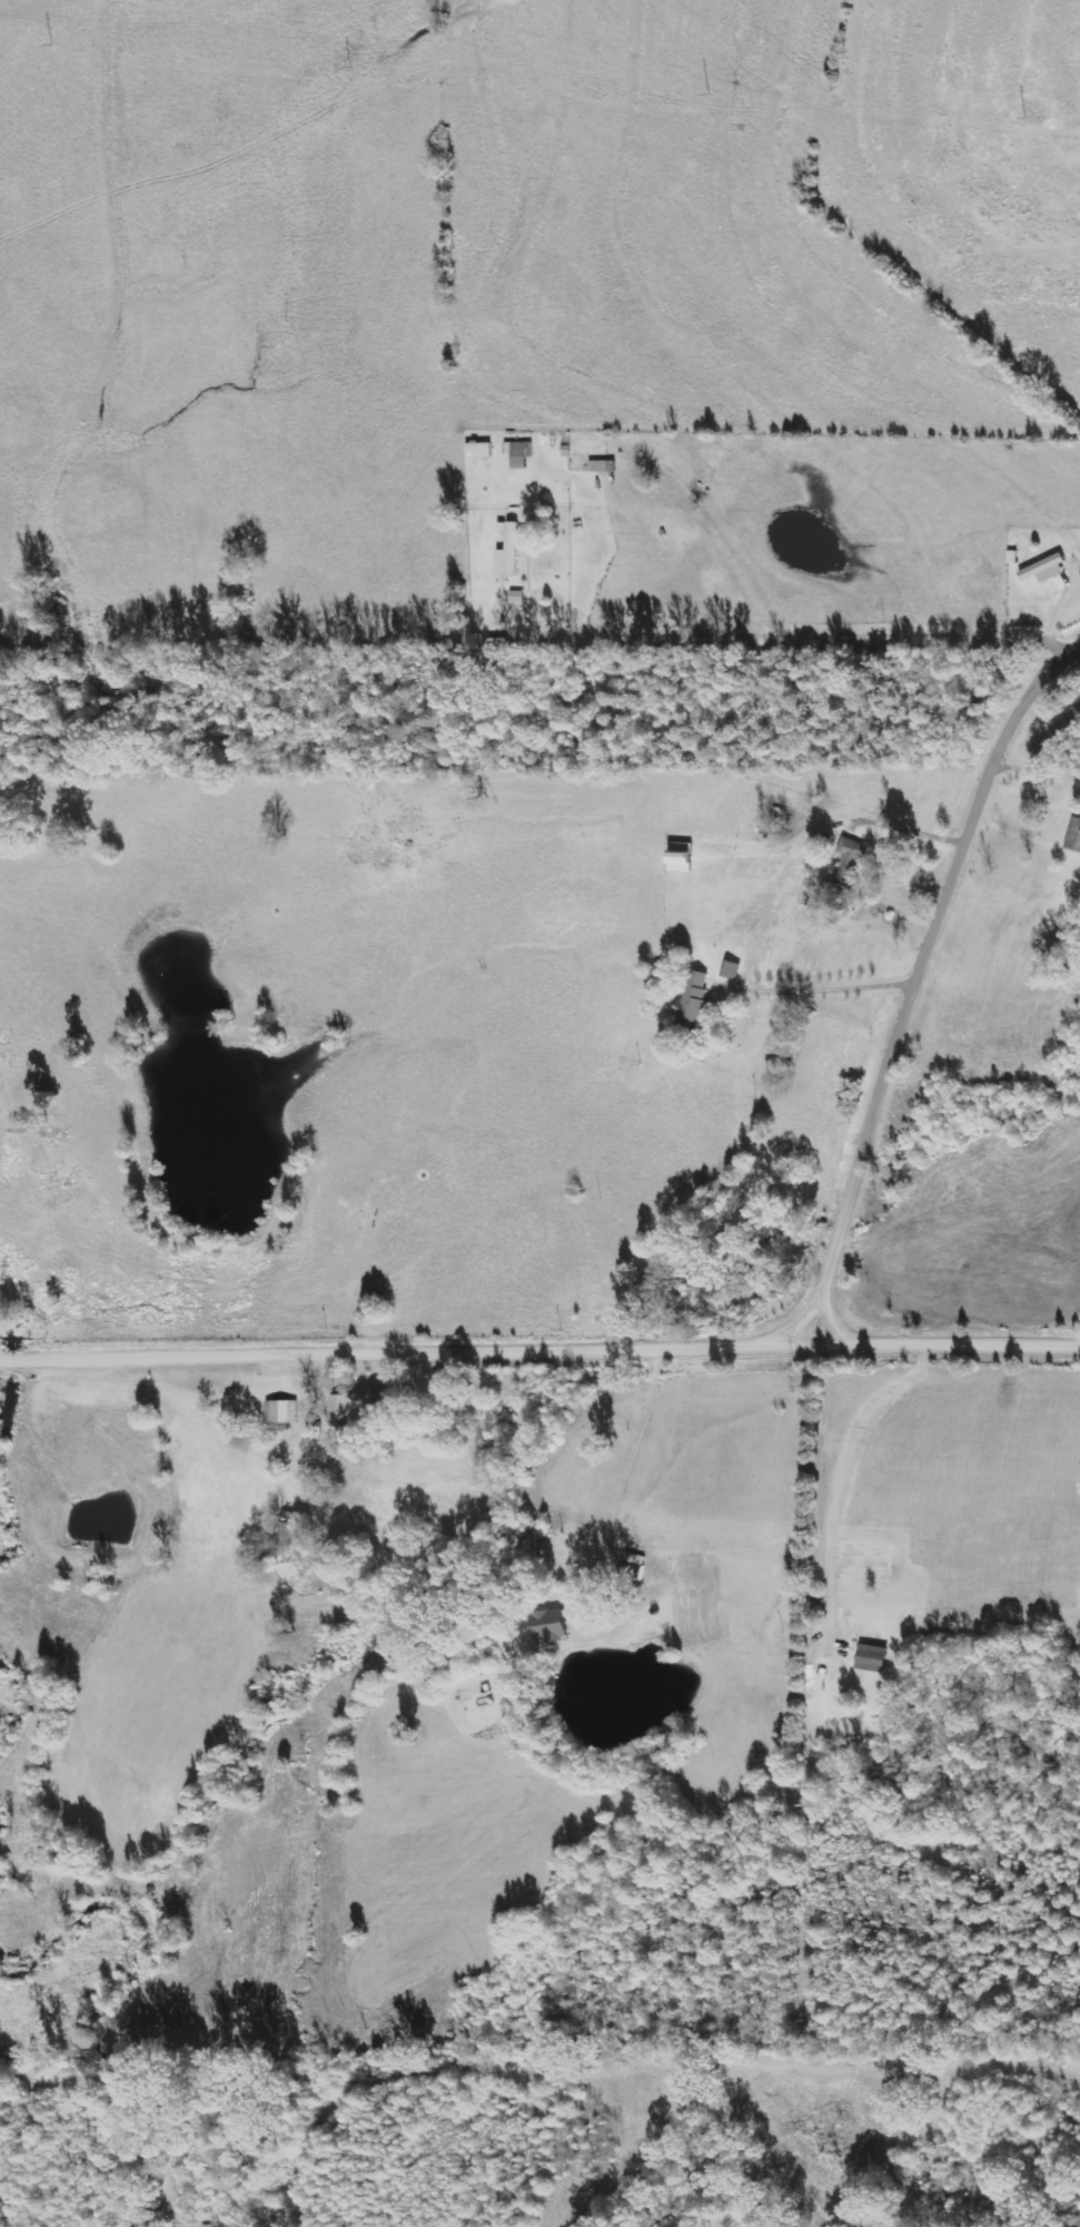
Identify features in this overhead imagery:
building: (478, 449)
building: (517, 453)
building: (597, 466)
building: (508, 549)
building: (1043, 570)
building: (515, 597)
road: (1037, 599)
building: (1074, 836)
building: (849, 861)
building: (730, 970)
road: (919, 987)
building: (693, 999)
road: (783, 1290)
road: (539, 1350)
building: (340, 1411)
building: (281, 1412)
building: (547, 1627)
building: (870, 1658)

